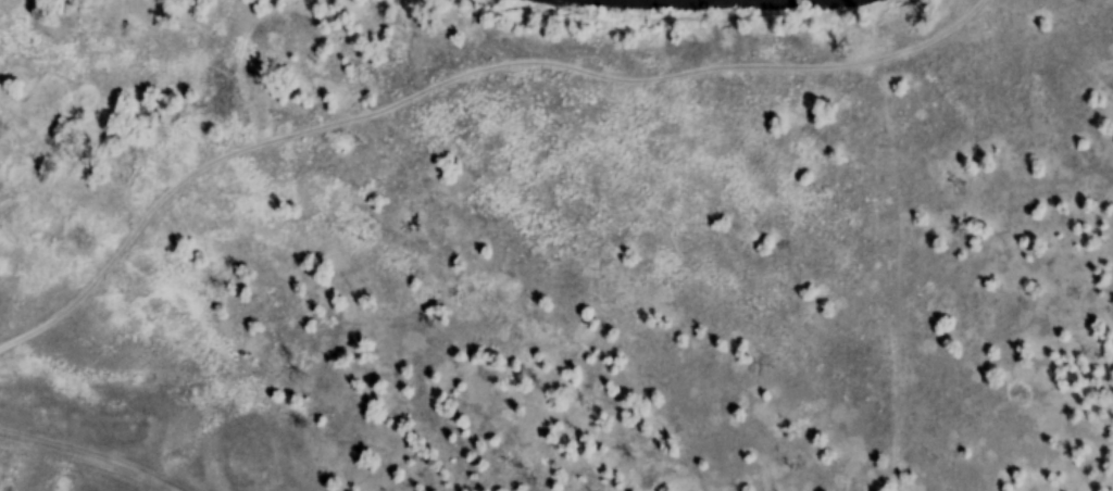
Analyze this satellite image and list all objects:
road: (85, 461)

